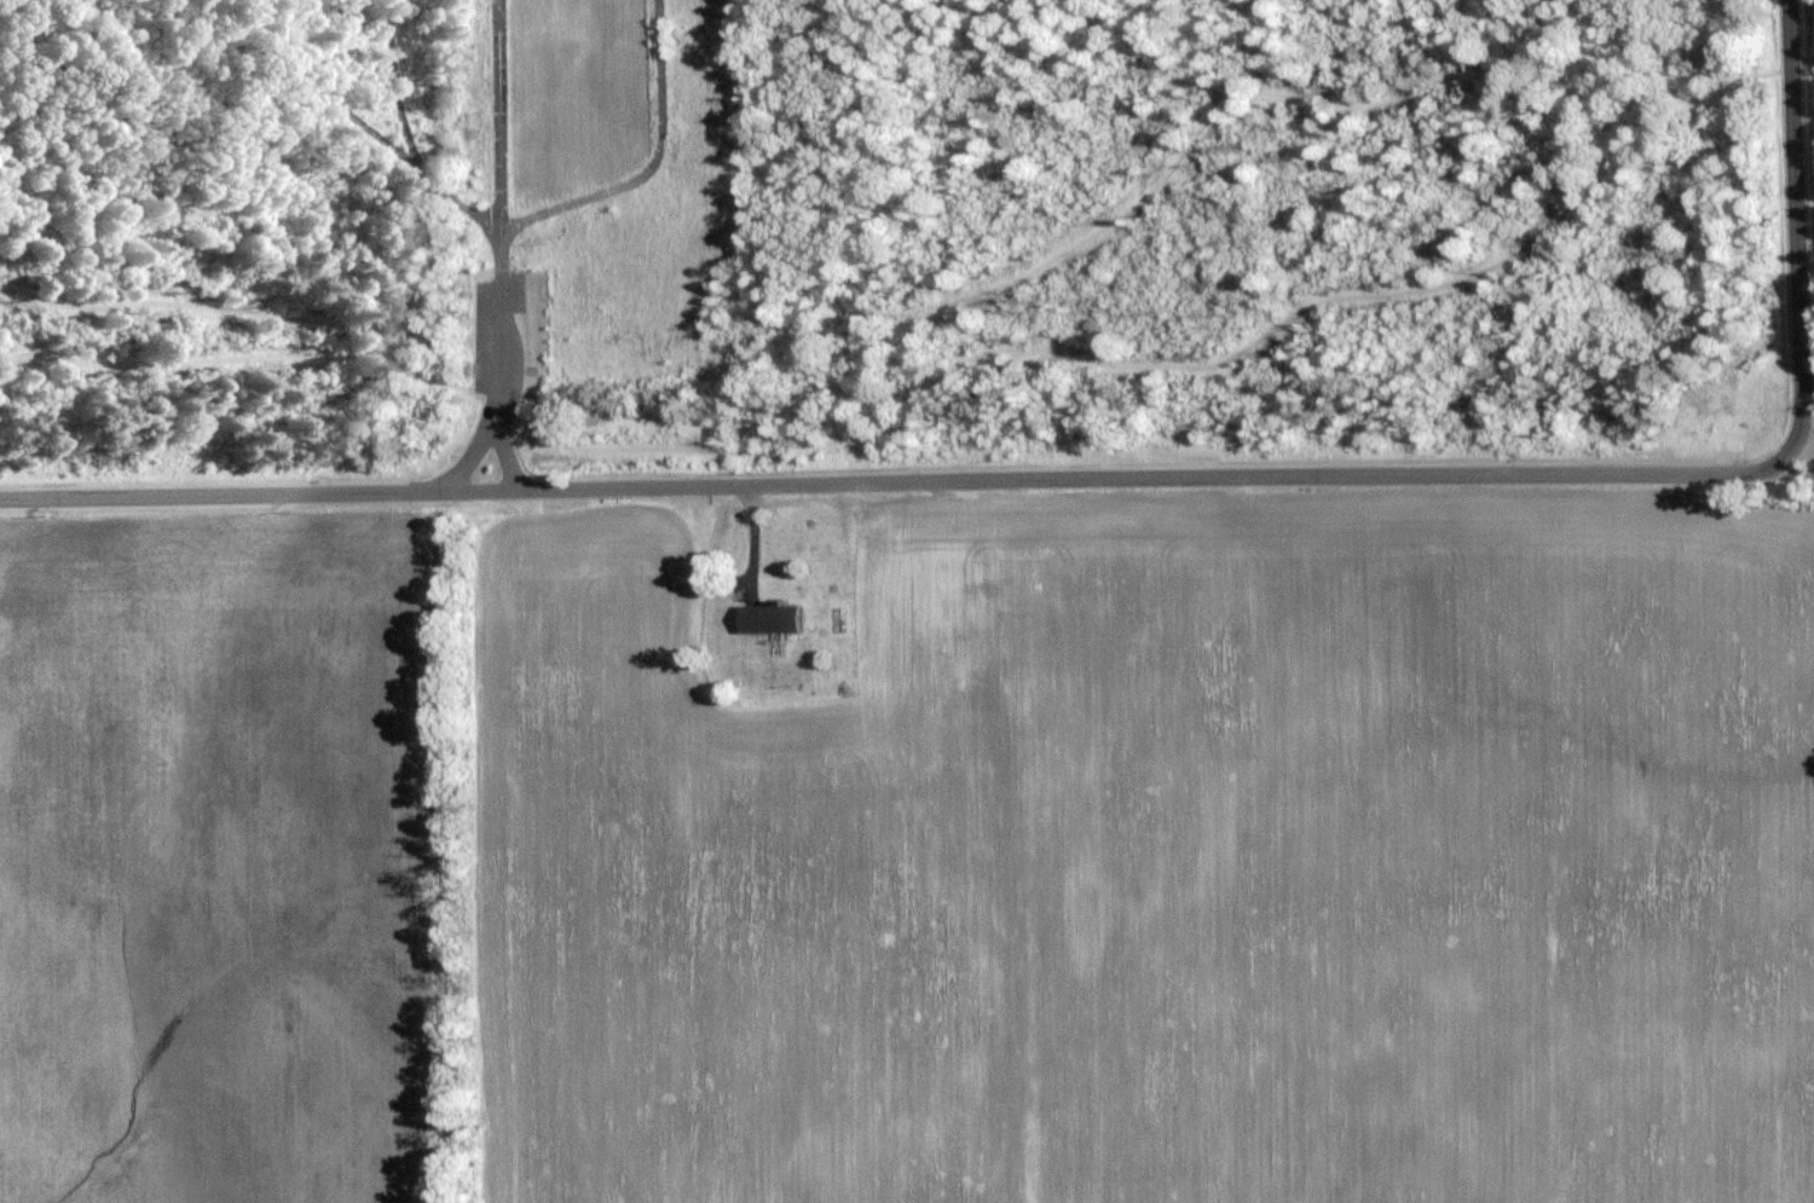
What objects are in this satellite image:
road: (1813, 0)
road: (1807, 56)
road: (1711, 83)
road: (1594, 152)
road: (537, 216)
road: (1797, 230)
road: (508, 243)
road: (504, 380)
road: (597, 413)
road: (895, 482)
building: (774, 617)

